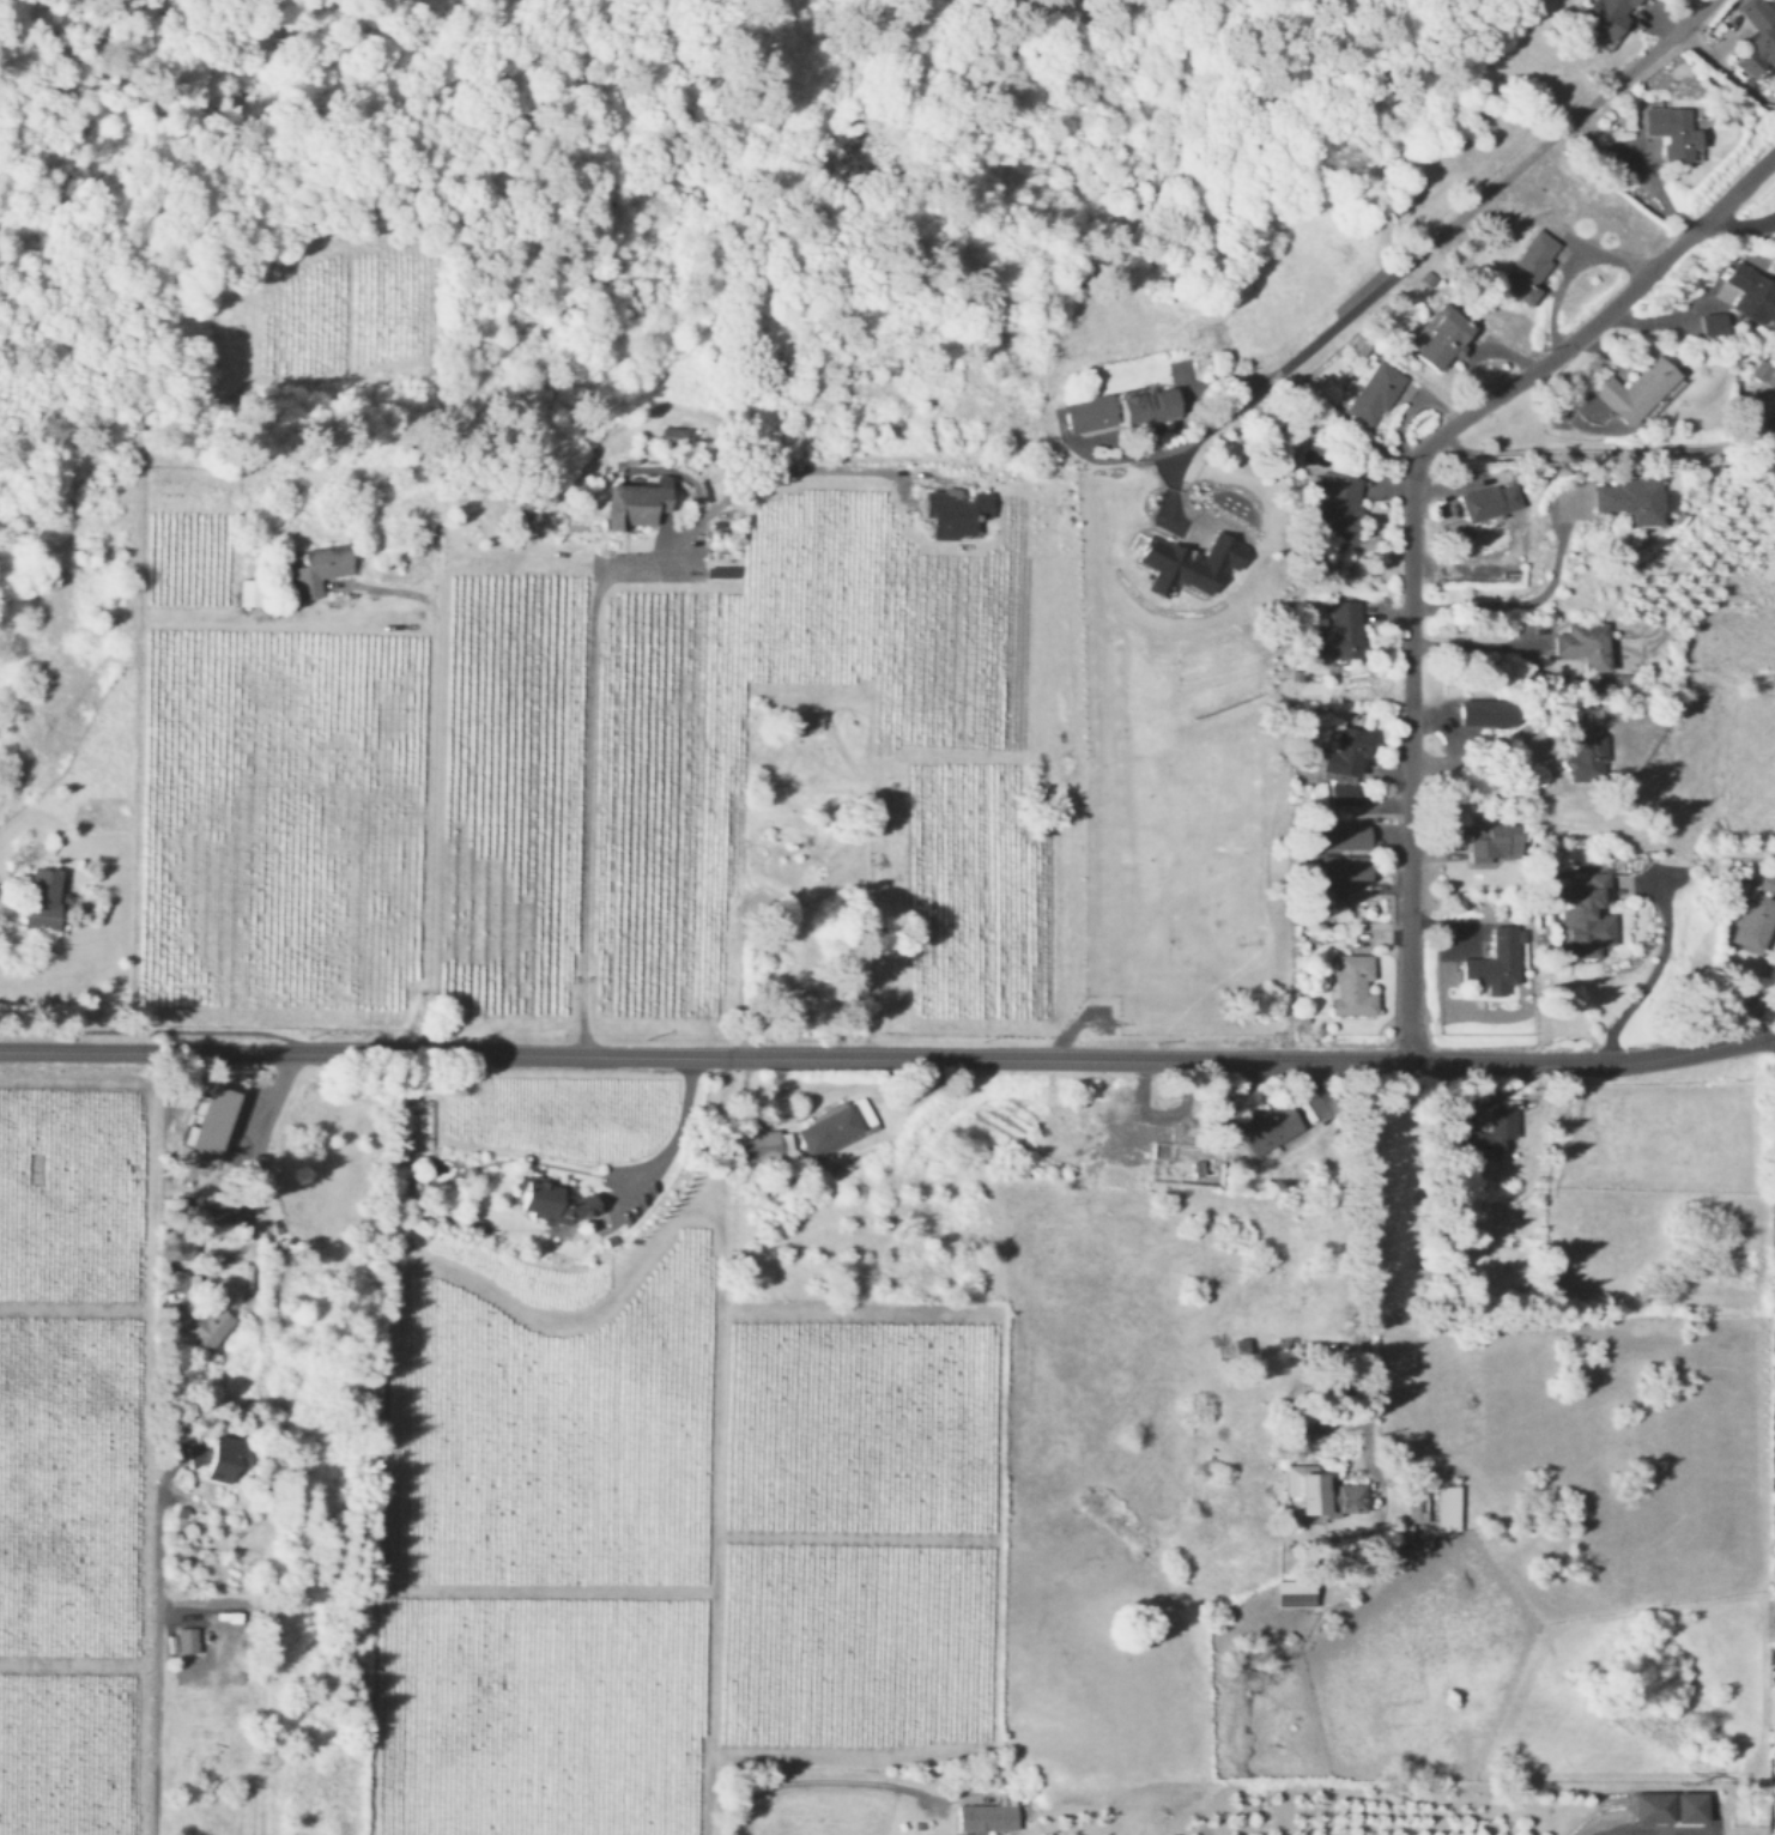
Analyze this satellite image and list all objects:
building: (1606, 16)
building: (1759, 31)
building: (1672, 133)
road: (1464, 213)
building: (1527, 266)
building: (1750, 297)
building: (1714, 322)
building: (1437, 341)
building: (1764, 373)
building: (1632, 392)
building: (1369, 394)
building: (1146, 407)
building: (1088, 416)
building: (1769, 420)
building: (677, 432)
road: (1588, 449)
road: (1159, 450)
building: (1628, 502)
building: (1486, 504)
building: (632, 507)
building: (1333, 509)
building: (955, 510)
road: (1411, 525)
building: (1191, 562)
building: (316, 570)
building: (246, 594)
road: (1521, 602)
road: (588, 636)
building: (1335, 636)
road: (1462, 646)
building: (1582, 647)
building: (1482, 714)
building: (805, 725)
road: (1458, 740)
building: (1581, 747)
building: (1344, 753)
road: (431, 785)
building: (1344, 795)
building: (1343, 837)
building: (1490, 844)
building: (1343, 873)
building: (38, 901)
building: (1756, 917)
building: (1580, 923)
building: (1489, 974)
road: (1653, 976)
building: (1350, 986)
road: (1773, 1031)
road: (366, 1053)
road: (1072, 1060)
road: (1592, 1065)
building: (1552, 1112)
building: (204, 1122)
building: (834, 1127)
building: (1262, 1127)
road: (671, 1135)
building: (1483, 1139)
building: (757, 1146)
road: (249, 1175)
building: (550, 1200)
building: (182, 1248)
road: (1365, 1256)
building: (199, 1325)
building: (1237, 1351)
building: (219, 1455)
building: (1321, 1495)
building: (1414, 1508)
building: (1446, 1509)
building: (182, 1514)
building: (1290, 1594)
building: (188, 1639)
road: (150, 1666)
road: (838, 1785)
building: (1692, 1806)
building: (1649, 1807)
building: (986, 1816)

